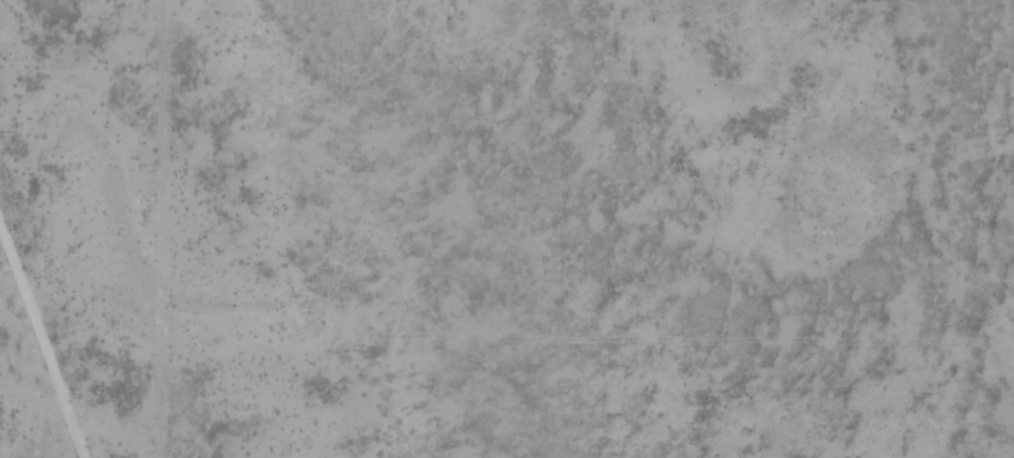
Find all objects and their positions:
road: (39, 339)

